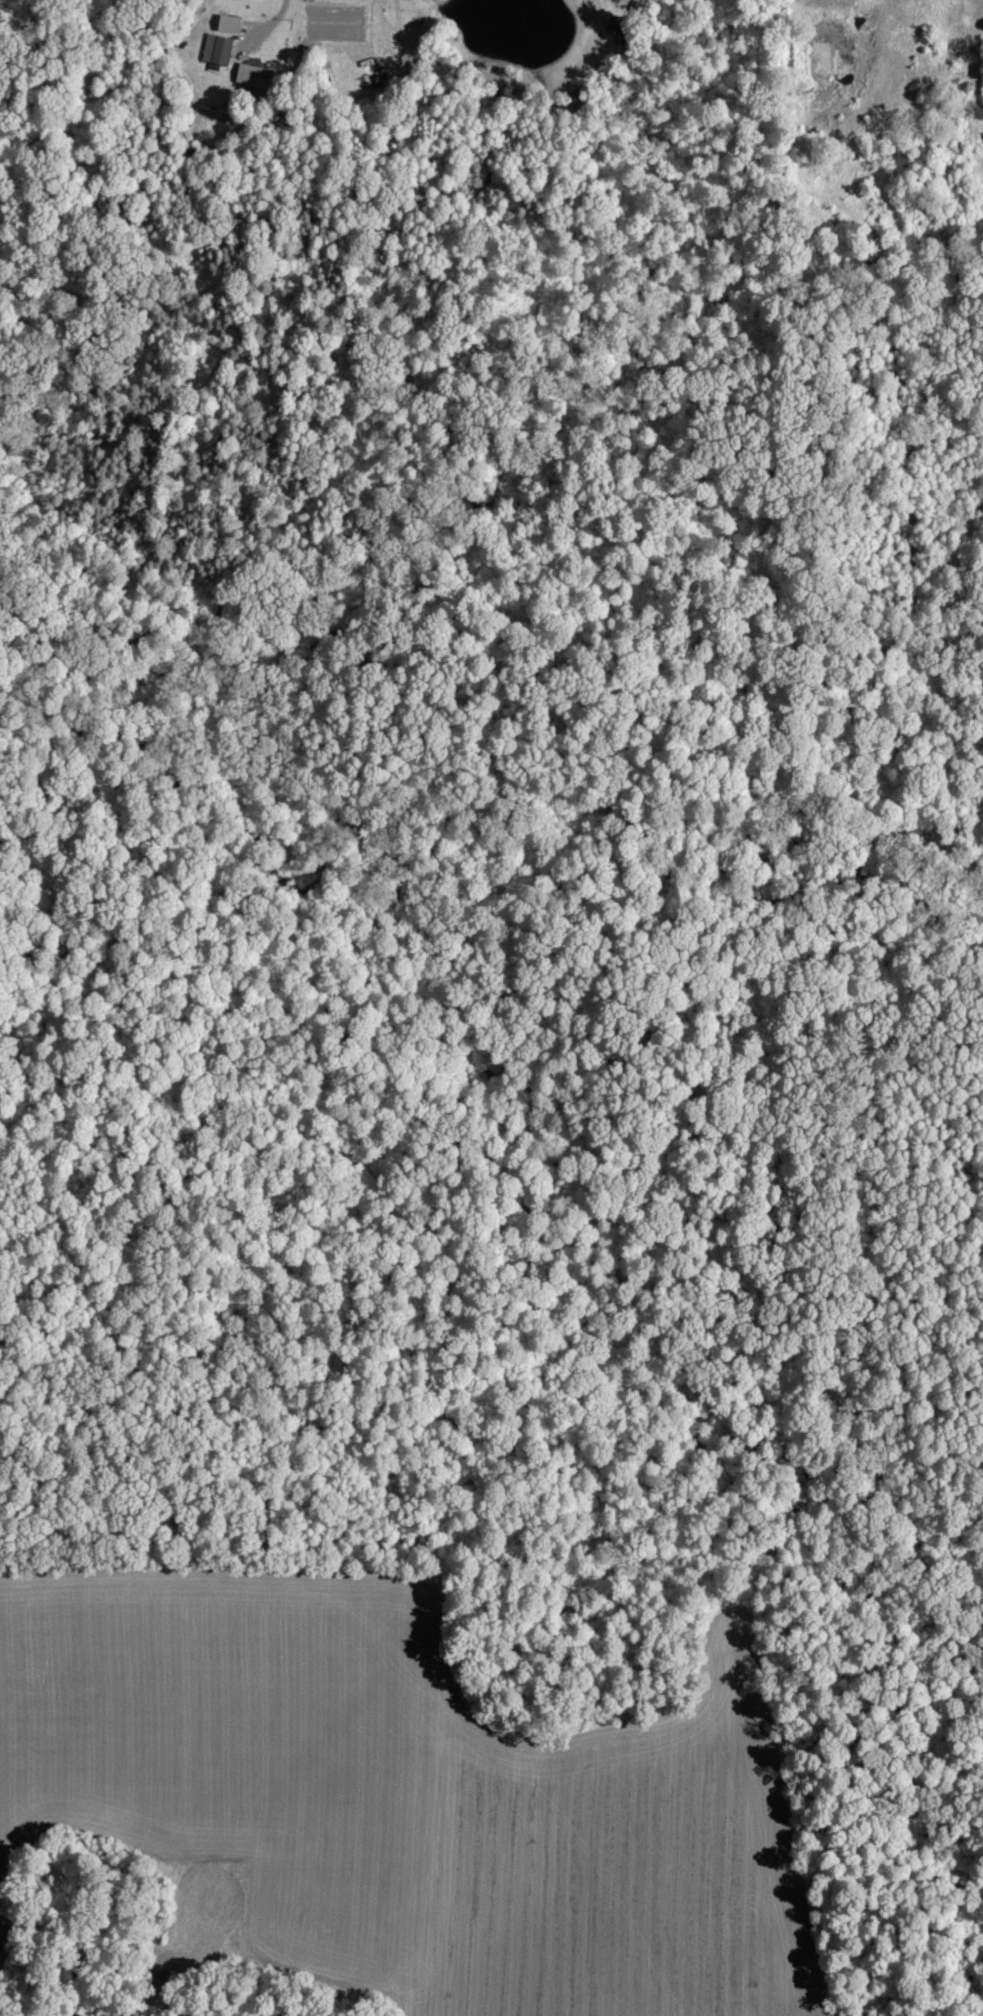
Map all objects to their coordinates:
road: (266, 22)
building: (228, 24)
building: (218, 50)
building: (256, 76)

